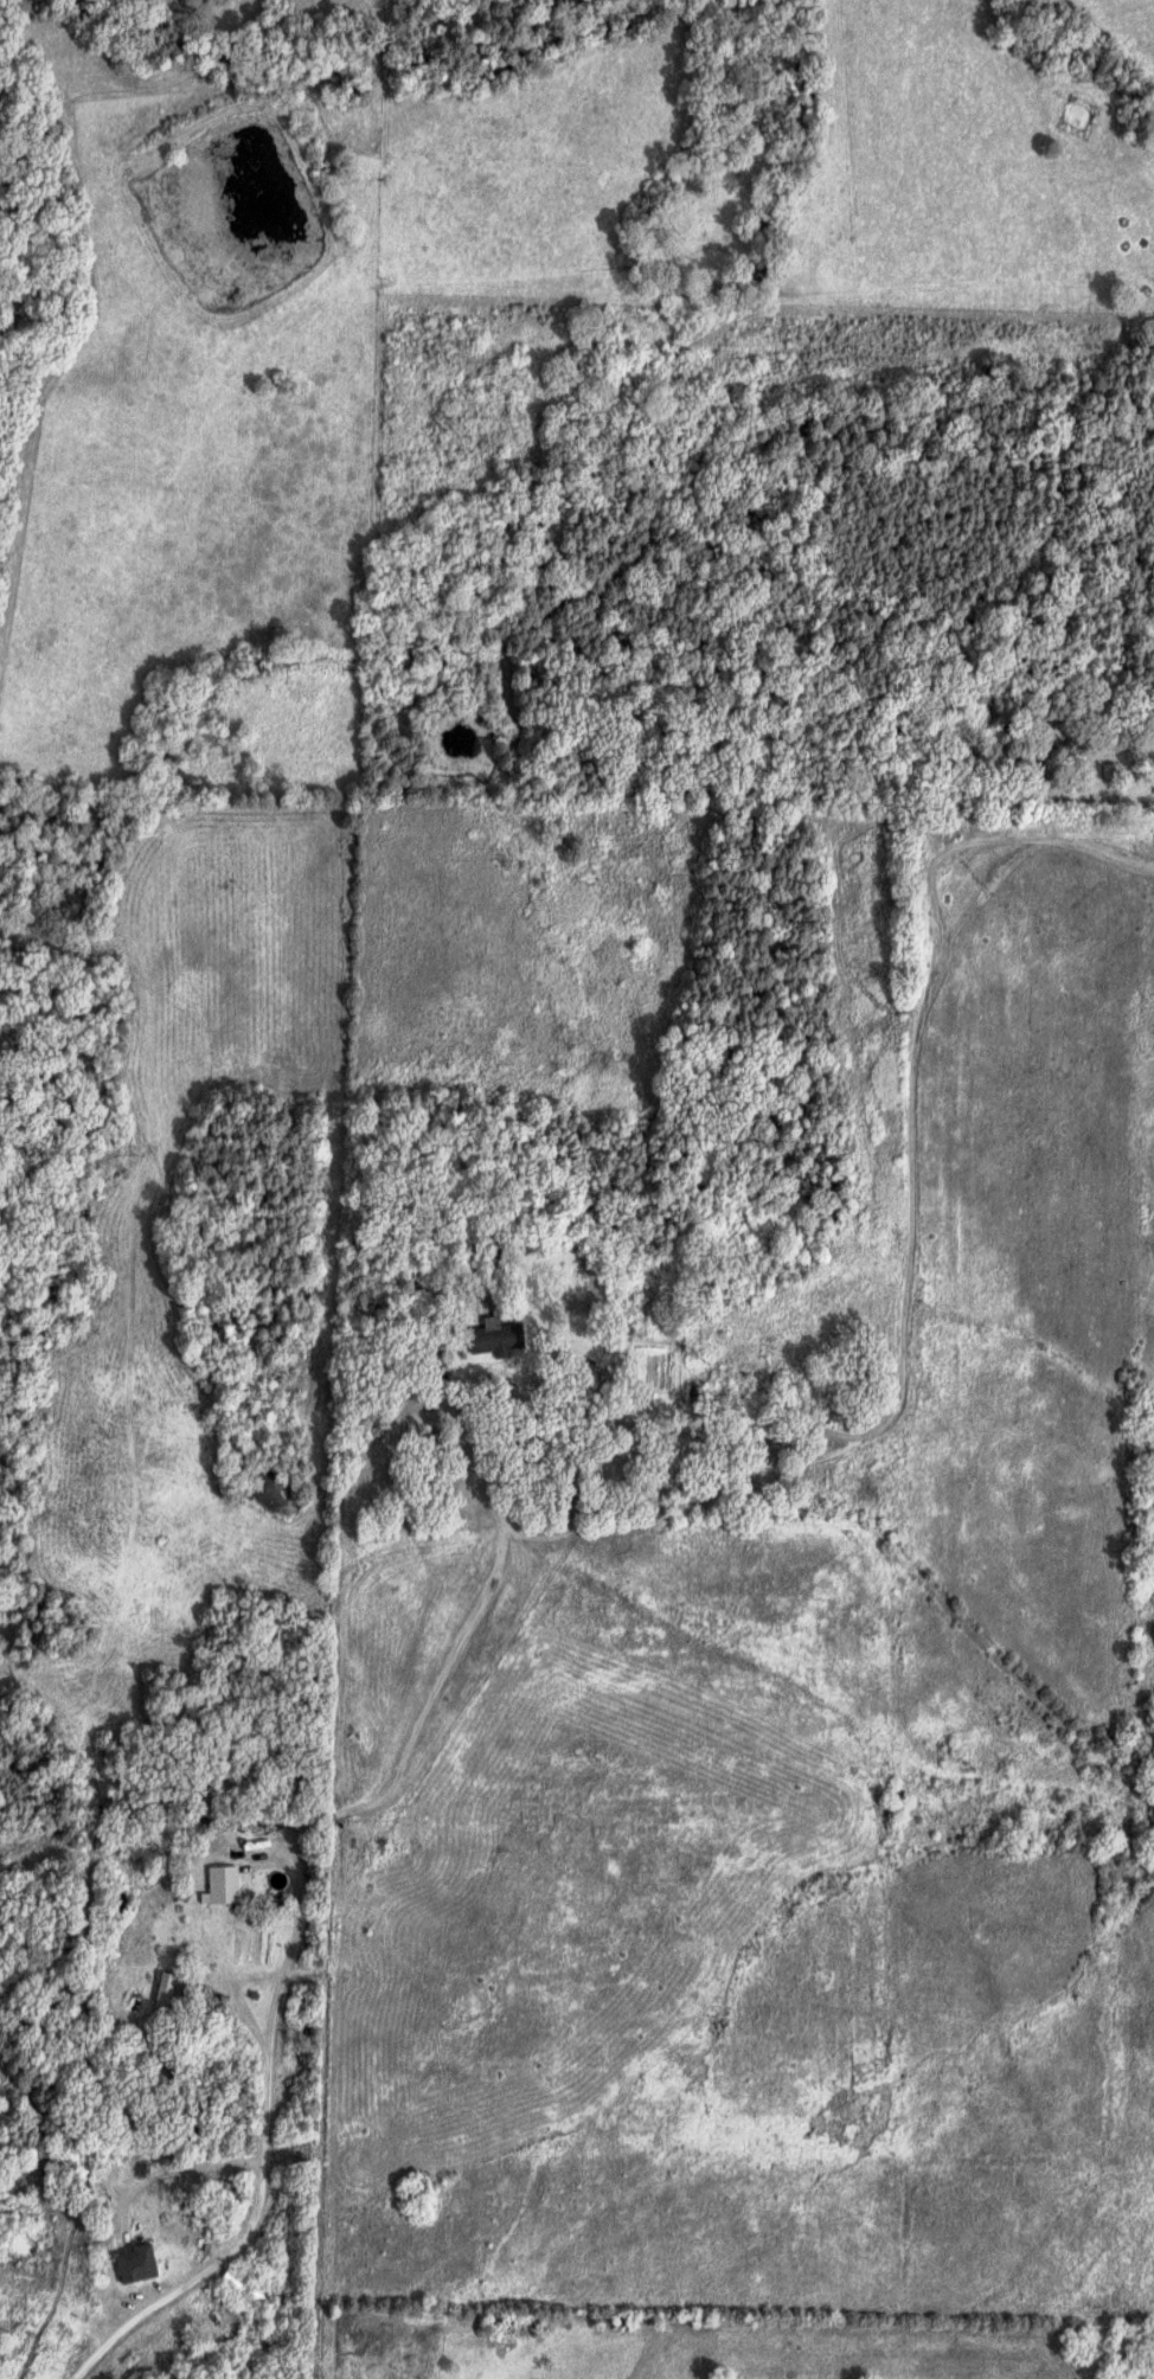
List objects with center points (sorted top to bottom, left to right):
building: (498, 1336)
building: (149, 1444)
road: (482, 1471)
road: (500, 1539)
road: (441, 1686)
building: (224, 1870)
building: (152, 1916)
building: (164, 1983)
building: (140, 2263)
building: (248, 2287)

